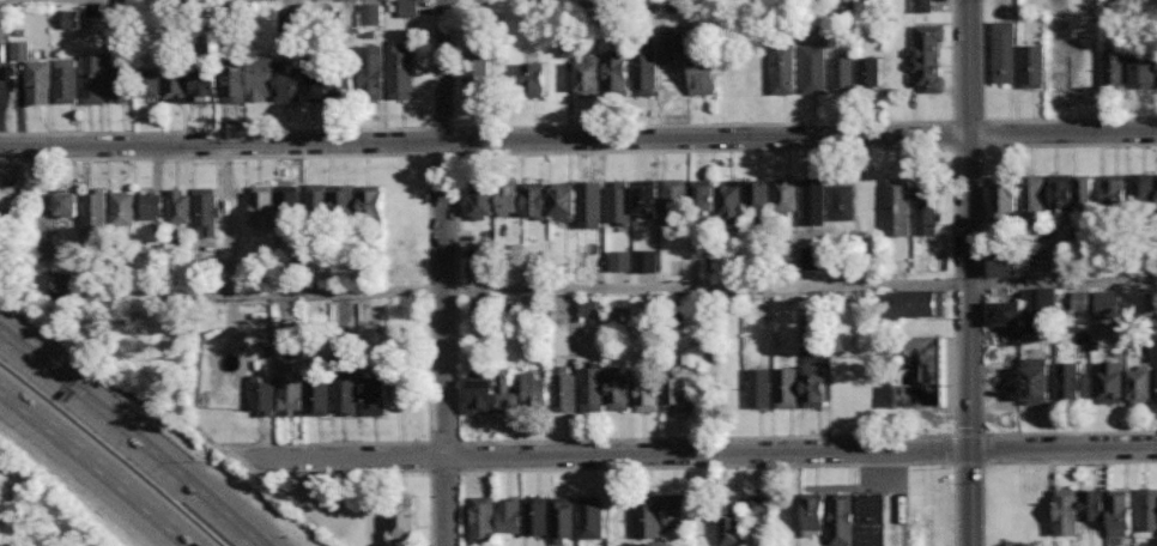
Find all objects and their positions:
building: (922, 5)
building: (1113, 7)
building: (408, 8)
building: (371, 13)
building: (1055, 13)
building: (67, 16)
building: (281, 18)
building: (672, 42)
building: (563, 43)
building: (1004, 51)
building: (2, 53)
building: (928, 57)
building: (1058, 62)
building: (646, 66)
building: (1031, 66)
building: (699, 67)
road: (967, 67)
building: (783, 68)
building: (813, 68)
building: (1114, 68)
building: (1143, 69)
building: (372, 71)
building: (401, 71)
building: (616, 72)
building: (316, 73)
building: (868, 73)
building: (34, 74)
building: (589, 74)
building: (843, 74)
building: (478, 75)
building: (728, 77)
building: (756, 77)
building: (93, 78)
building: (533, 79)
building: (66, 80)
building: (120, 81)
building: (262, 81)
building: (206, 83)
building: (341, 83)
building: (175, 84)
building: (150, 85)
road: (1007, 120)
road: (965, 121)
road: (763, 122)
road: (212, 131)
road: (979, 133)
road: (952, 134)
road: (1062, 134)
road: (484, 144)
road: (1002, 145)
road: (964, 146)
road: (703, 150)
road: (455, 153)
road: (278, 156)
building: (1143, 189)
building: (1114, 190)
building: (1061, 192)
building: (1085, 193)
building: (786, 194)
building: (757, 196)
building: (813, 196)
building: (646, 198)
building: (702, 198)
building: (1032, 198)
building: (508, 199)
building: (534, 199)
building: (564, 199)
building: (674, 199)
building: (1004, 199)
building: (317, 200)
building: (481, 200)
building: (729, 200)
building: (842, 200)
building: (66, 201)
building: (345, 201)
building: (619, 201)
building: (372, 202)
building: (590, 202)
building: (151, 204)
building: (275, 204)
building: (180, 206)
building: (898, 206)
building: (123, 208)
building: (929, 208)
building: (206, 211)
building: (95, 213)
building: (402, 245)
building: (811, 256)
building: (629, 257)
building: (1005, 262)
building: (481, 271)
building: (406, 273)
road: (443, 273)
building: (62, 280)
road: (979, 281)
road: (952, 283)
road: (455, 289)
road: (605, 290)
road: (428, 291)
building: (1047, 298)
building: (921, 302)
building: (1077, 302)
building: (1102, 302)
building: (1151, 302)
building: (586, 307)
building: (1013, 308)
road: (969, 341)
building: (922, 370)
building: (1037, 380)
building: (346, 382)
building: (1068, 382)
building: (1111, 382)
building: (1140, 383)
building: (813, 384)
building: (564, 386)
building: (290, 387)
building: (759, 387)
building: (786, 387)
building: (592, 388)
building: (618, 388)
building: (537, 389)
building: (648, 389)
building: (676, 389)
building: (375, 392)
building: (483, 393)
building: (508, 393)
building: (262, 394)
building: (317, 394)
road: (997, 433)
road: (131, 437)
road: (705, 437)
road: (393, 441)
road: (701, 451)
road: (1029, 462)
road: (983, 463)
road: (97, 465)
road: (747, 467)
road: (1, 471)
road: (458, 471)
road: (341, 472)
road: (1, 475)
road: (460, 508)
road: (430, 509)
building: (1077, 509)
building: (677, 511)
building: (1120, 511)
building: (1147, 511)
building: (759, 514)
building: (813, 514)
building: (537, 515)
building: (509, 516)
building: (563, 516)
building: (650, 516)
building: (484, 517)
building: (590, 517)
building: (841, 518)
building: (872, 518)
building: (734, 520)
building: (402, 521)

